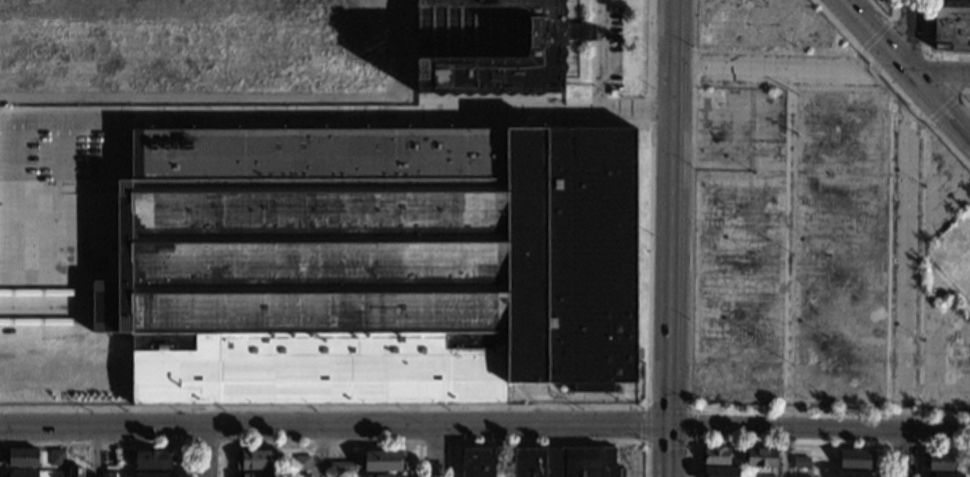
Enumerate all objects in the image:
building: (951, 29)
road: (876, 33)
road: (870, 36)
road: (904, 37)
building: (489, 47)
road: (778, 50)
road: (863, 52)
road: (925, 55)
road: (785, 70)
road: (937, 74)
road: (794, 85)
road: (599, 90)
building: (612, 94)
road: (961, 96)
road: (943, 106)
road: (937, 109)
road: (127, 120)
road: (941, 135)
road: (666, 170)
road: (690, 202)
road: (108, 218)
parking lot: (789, 247)
road: (905, 258)
building: (374, 264)
road: (937, 270)
road: (788, 273)
road: (920, 290)
railway: (45, 292)
railway: (45, 322)
road: (887, 347)
road: (667, 383)
road: (526, 405)
road: (647, 405)
road: (334, 426)
traffic signals: (668, 426)
road: (785, 427)
road: (936, 429)
road: (548, 441)
road: (320, 442)
road: (434, 442)
road: (110, 443)
road: (204, 443)
road: (784, 443)
road: (918, 447)
road: (930, 448)
road: (94, 451)
road: (206, 451)
road: (318, 451)
road: (435, 451)
road: (667, 451)
road: (901, 452)
building: (715, 456)
building: (20, 457)
building: (760, 457)
building: (56, 458)
building: (856, 459)
building: (151, 460)
building: (255, 460)
building: (804, 460)
building: (383, 461)
building: (939, 461)
building: (478, 462)
building: (562, 462)
building: (301, 463)
building: (340, 466)
building: (75, 472)
building: (719, 472)
building: (19, 474)
building: (107, 474)
building: (855, 474)
building: (152, 475)
building: (258, 475)
building: (302, 475)
building: (944, 475)
building: (385, 476)
building: (769, 476)

